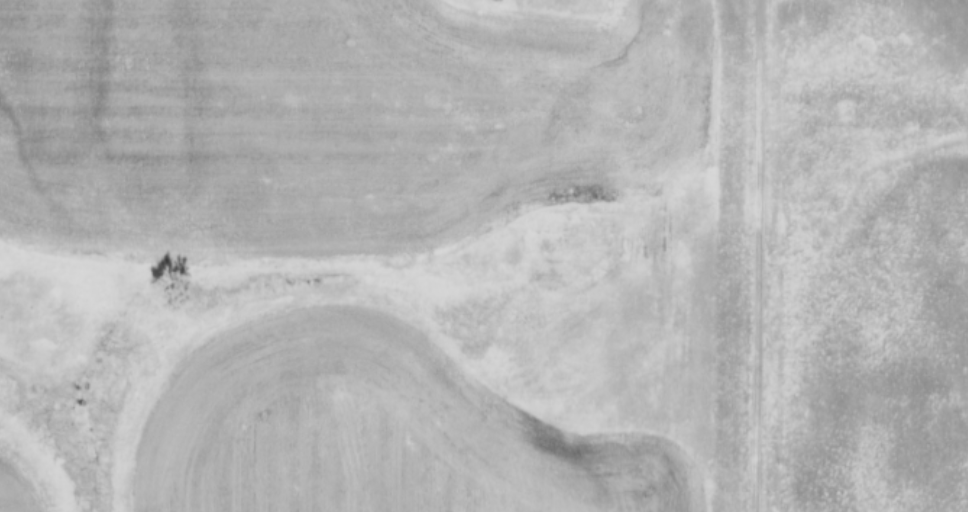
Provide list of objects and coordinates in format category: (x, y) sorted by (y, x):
road: (759, 255)

